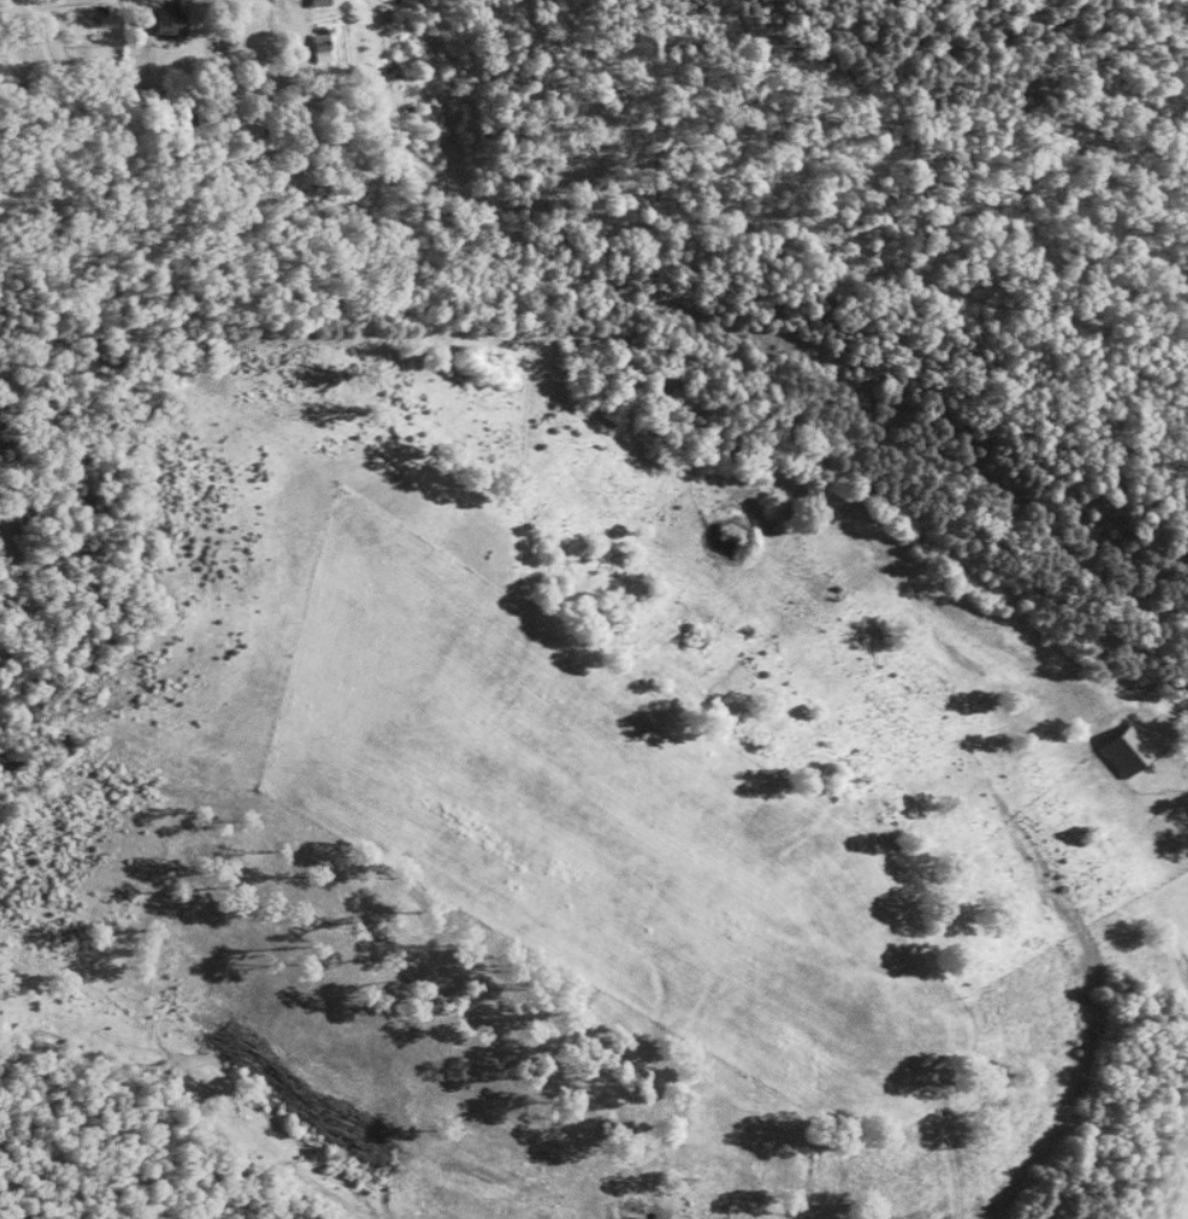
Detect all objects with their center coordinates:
road: (48, 7)
building: (171, 19)
building: (1124, 750)

